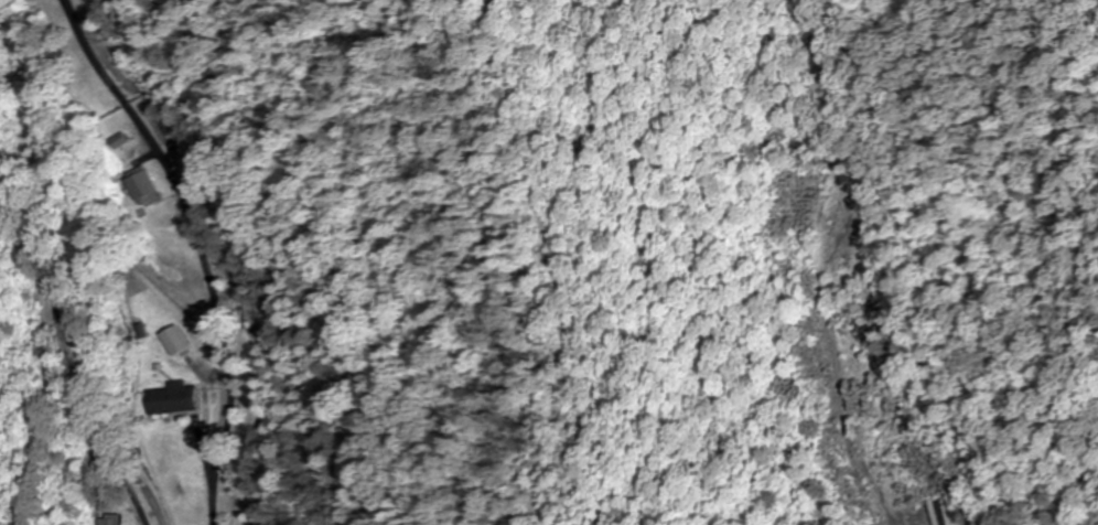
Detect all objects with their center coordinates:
building: (151, 187)
road: (200, 247)
road: (125, 325)
building: (176, 341)
building: (175, 400)
building: (934, 513)
building: (110, 521)

